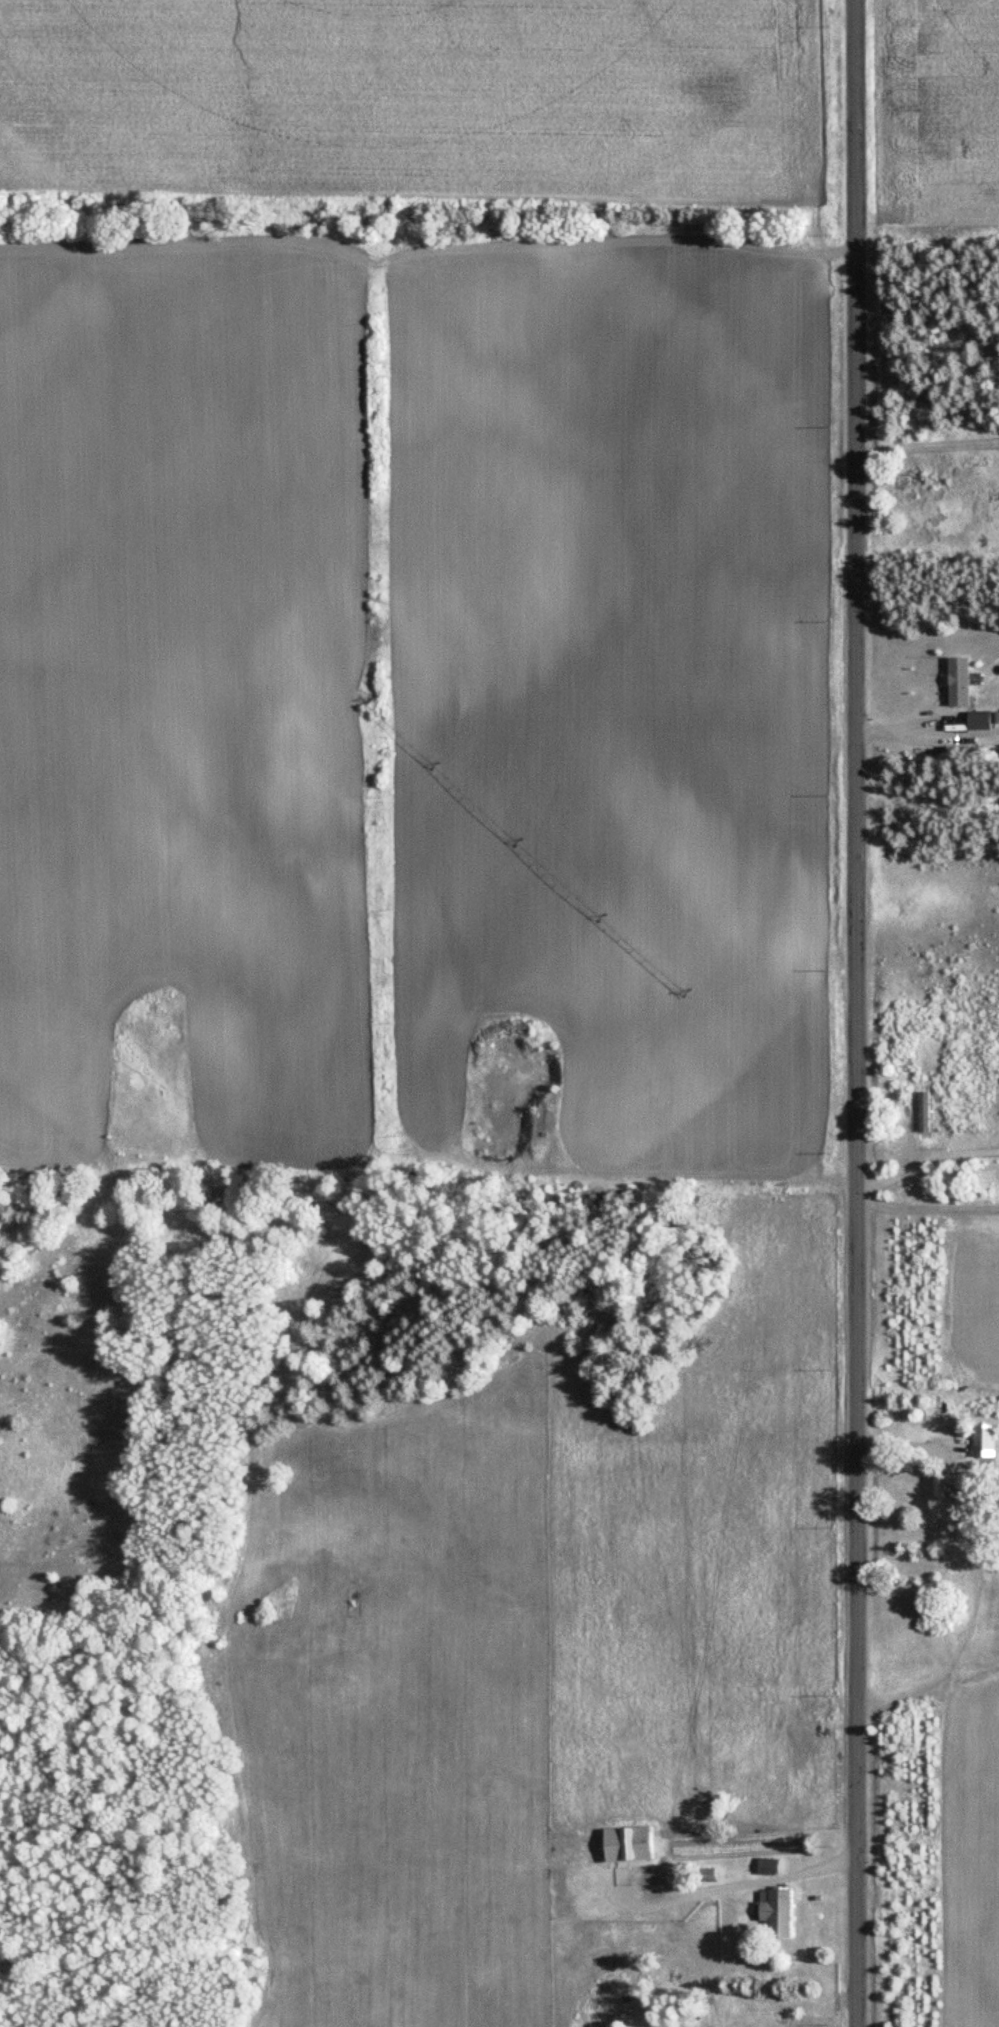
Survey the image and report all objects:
building: (958, 682)
building: (978, 721)
road: (855, 1013)
building: (923, 1113)
road: (925, 1163)
building: (983, 1433)
road: (906, 1446)
building: (942, 1492)
building: (710, 1868)
building: (774, 1911)

